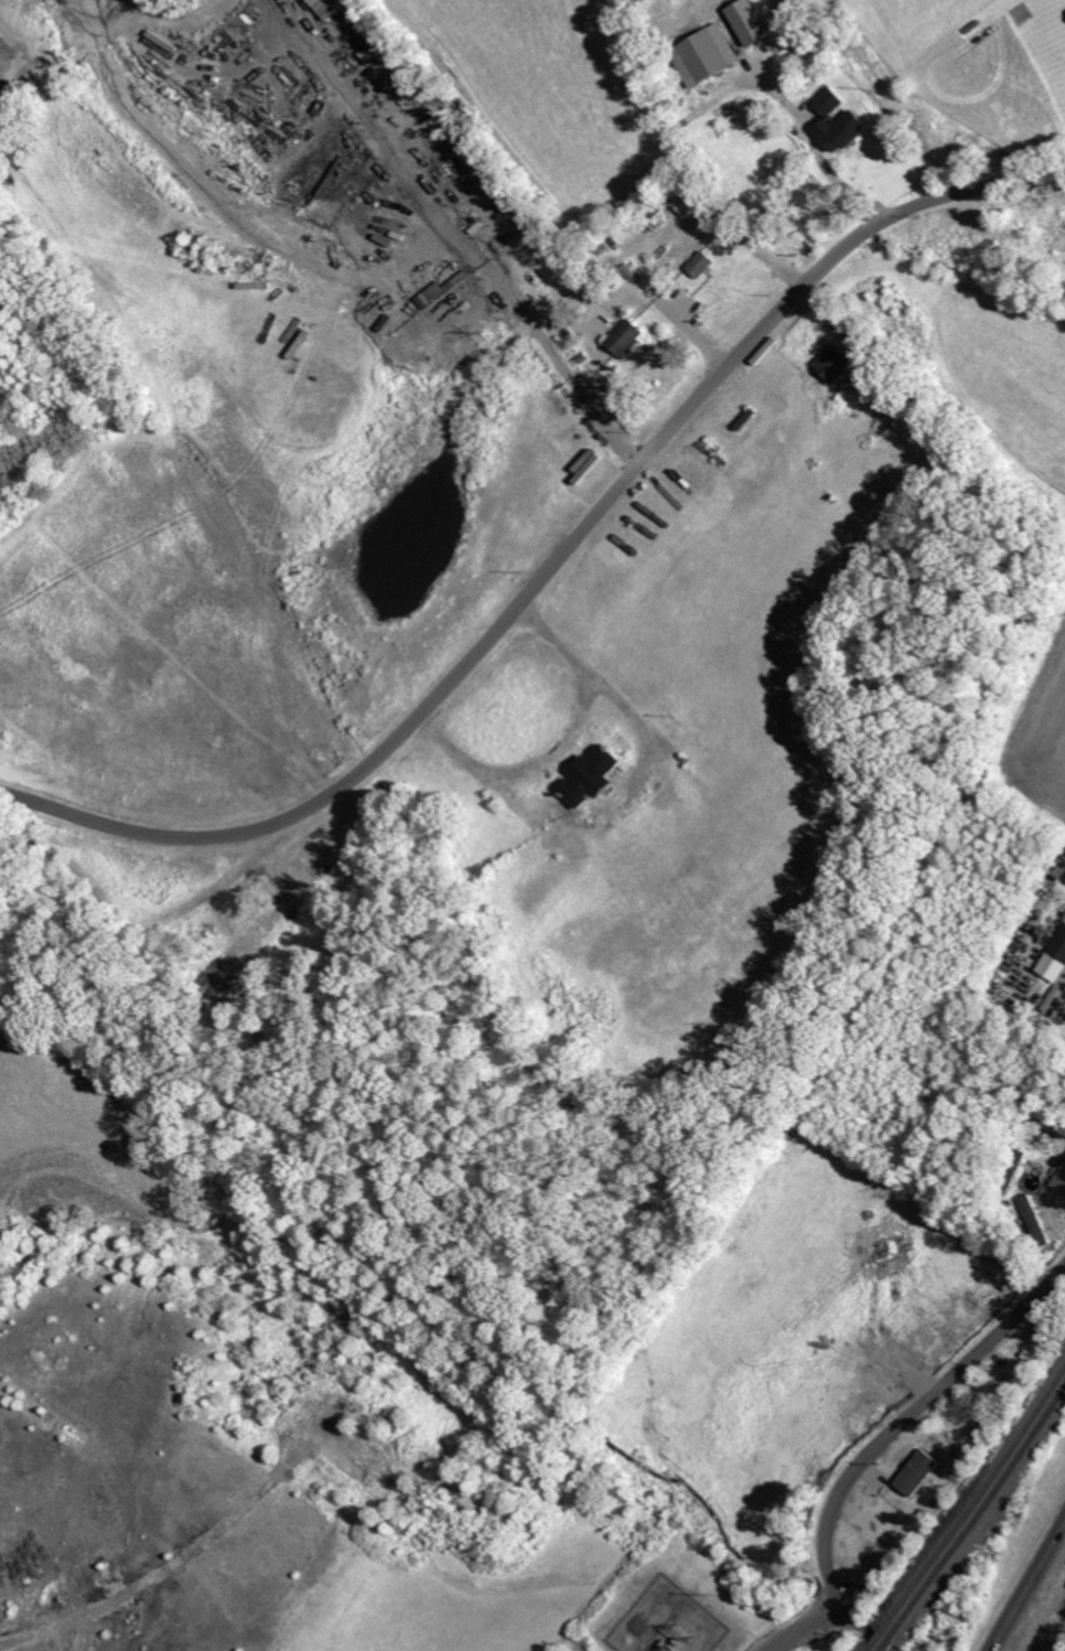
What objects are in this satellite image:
building: (329, 7)
building: (751, 22)
building: (707, 55)
building: (854, 120)
building: (702, 265)
building: (628, 337)
building: (837, 363)
road: (555, 566)
building: (594, 778)
building: (1054, 958)
building: (1059, 1175)
road: (906, 1413)
building: (916, 1473)
railway: (969, 1510)
railway: (976, 1521)
road: (1026, 1585)
road: (820, 1612)
road: (852, 1619)
road: (783, 1637)

